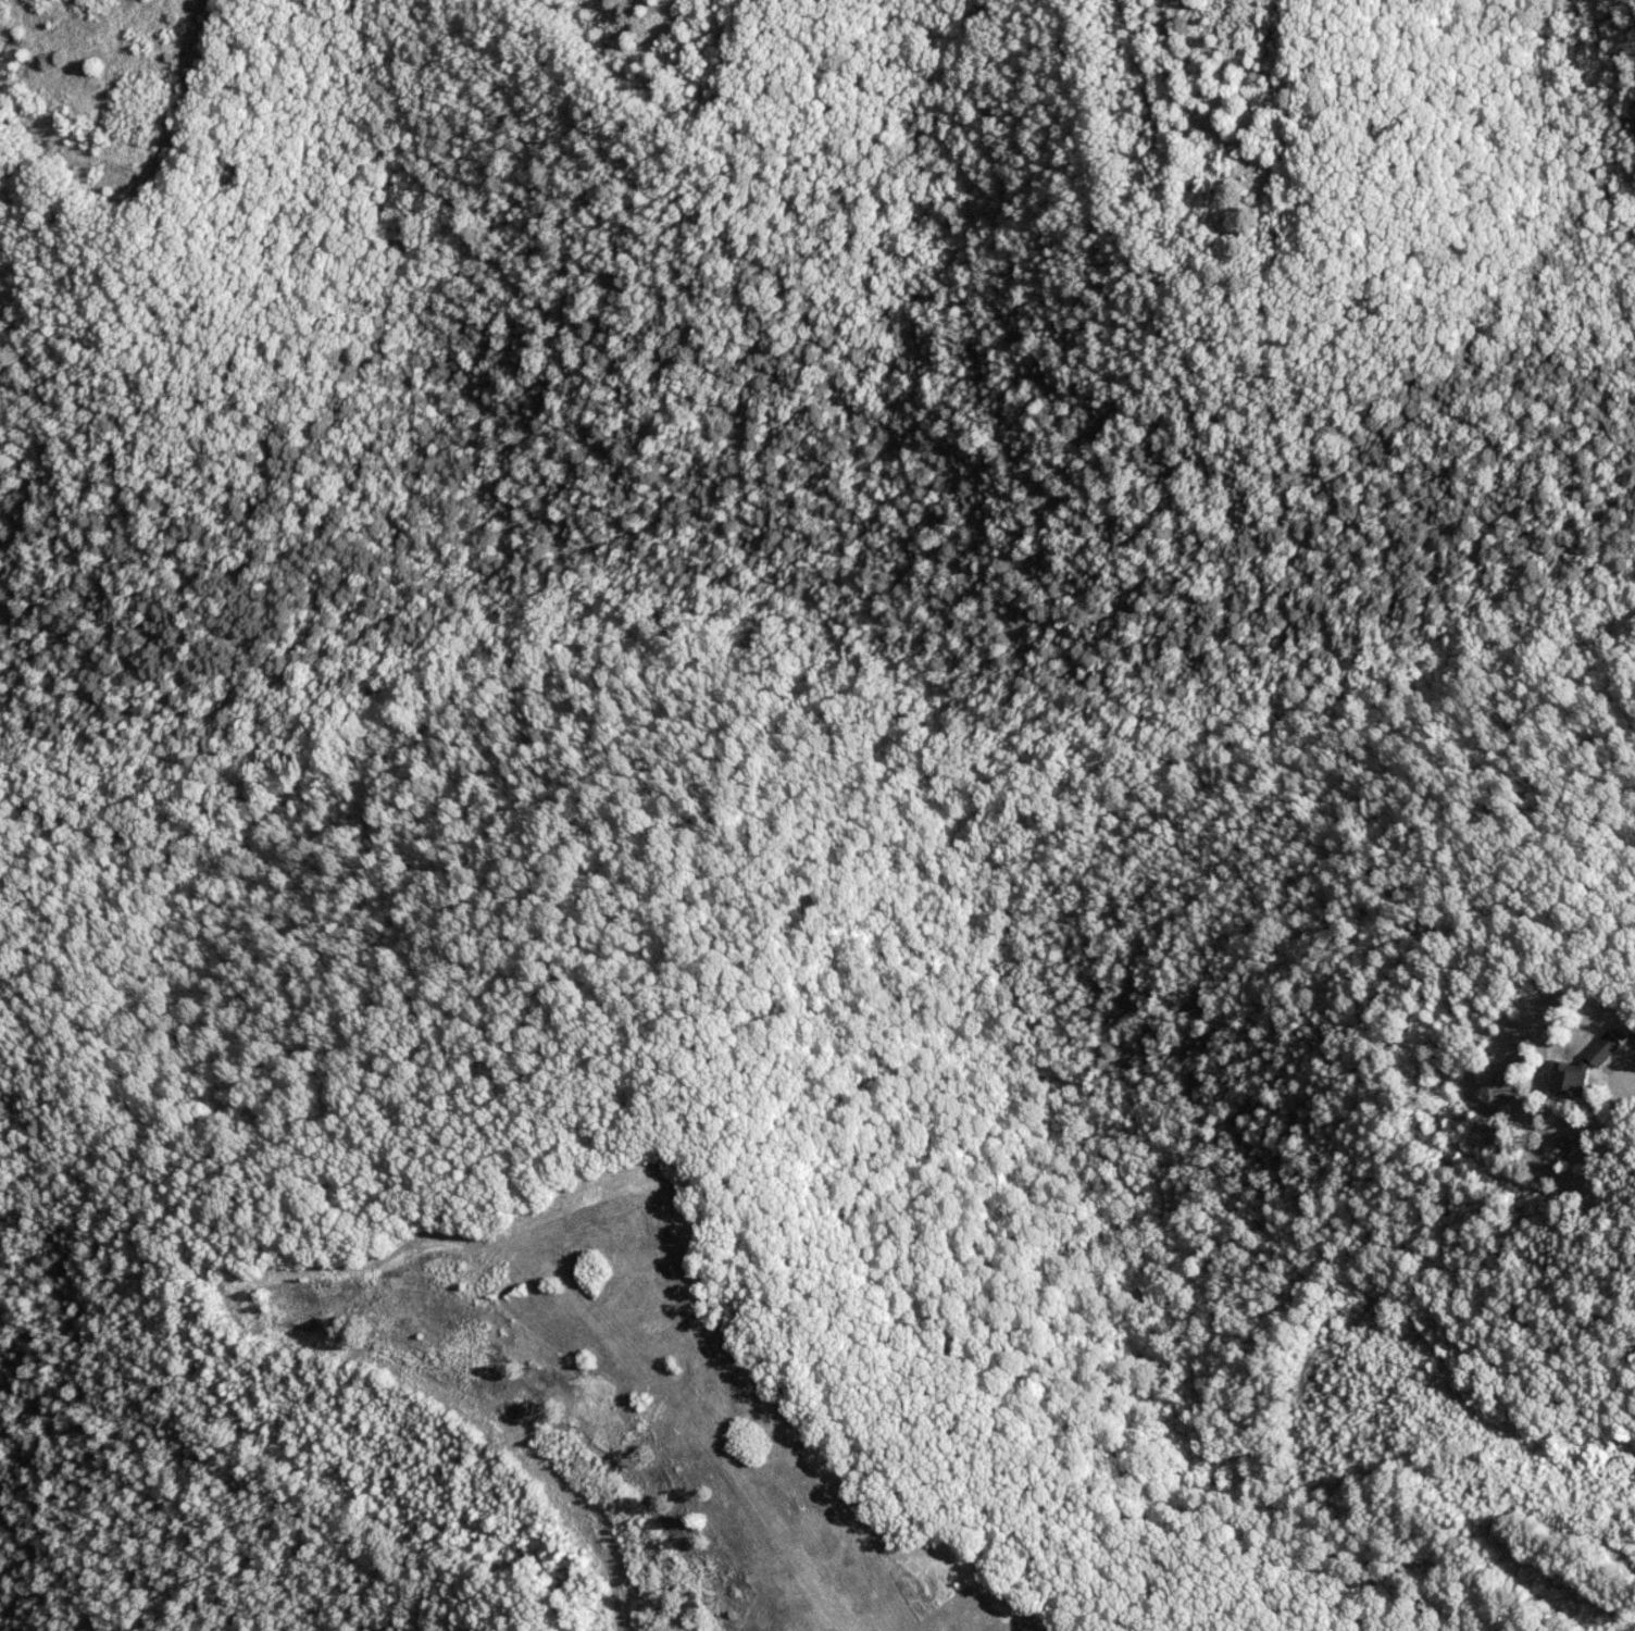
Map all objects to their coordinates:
building: (1577, 1066)

